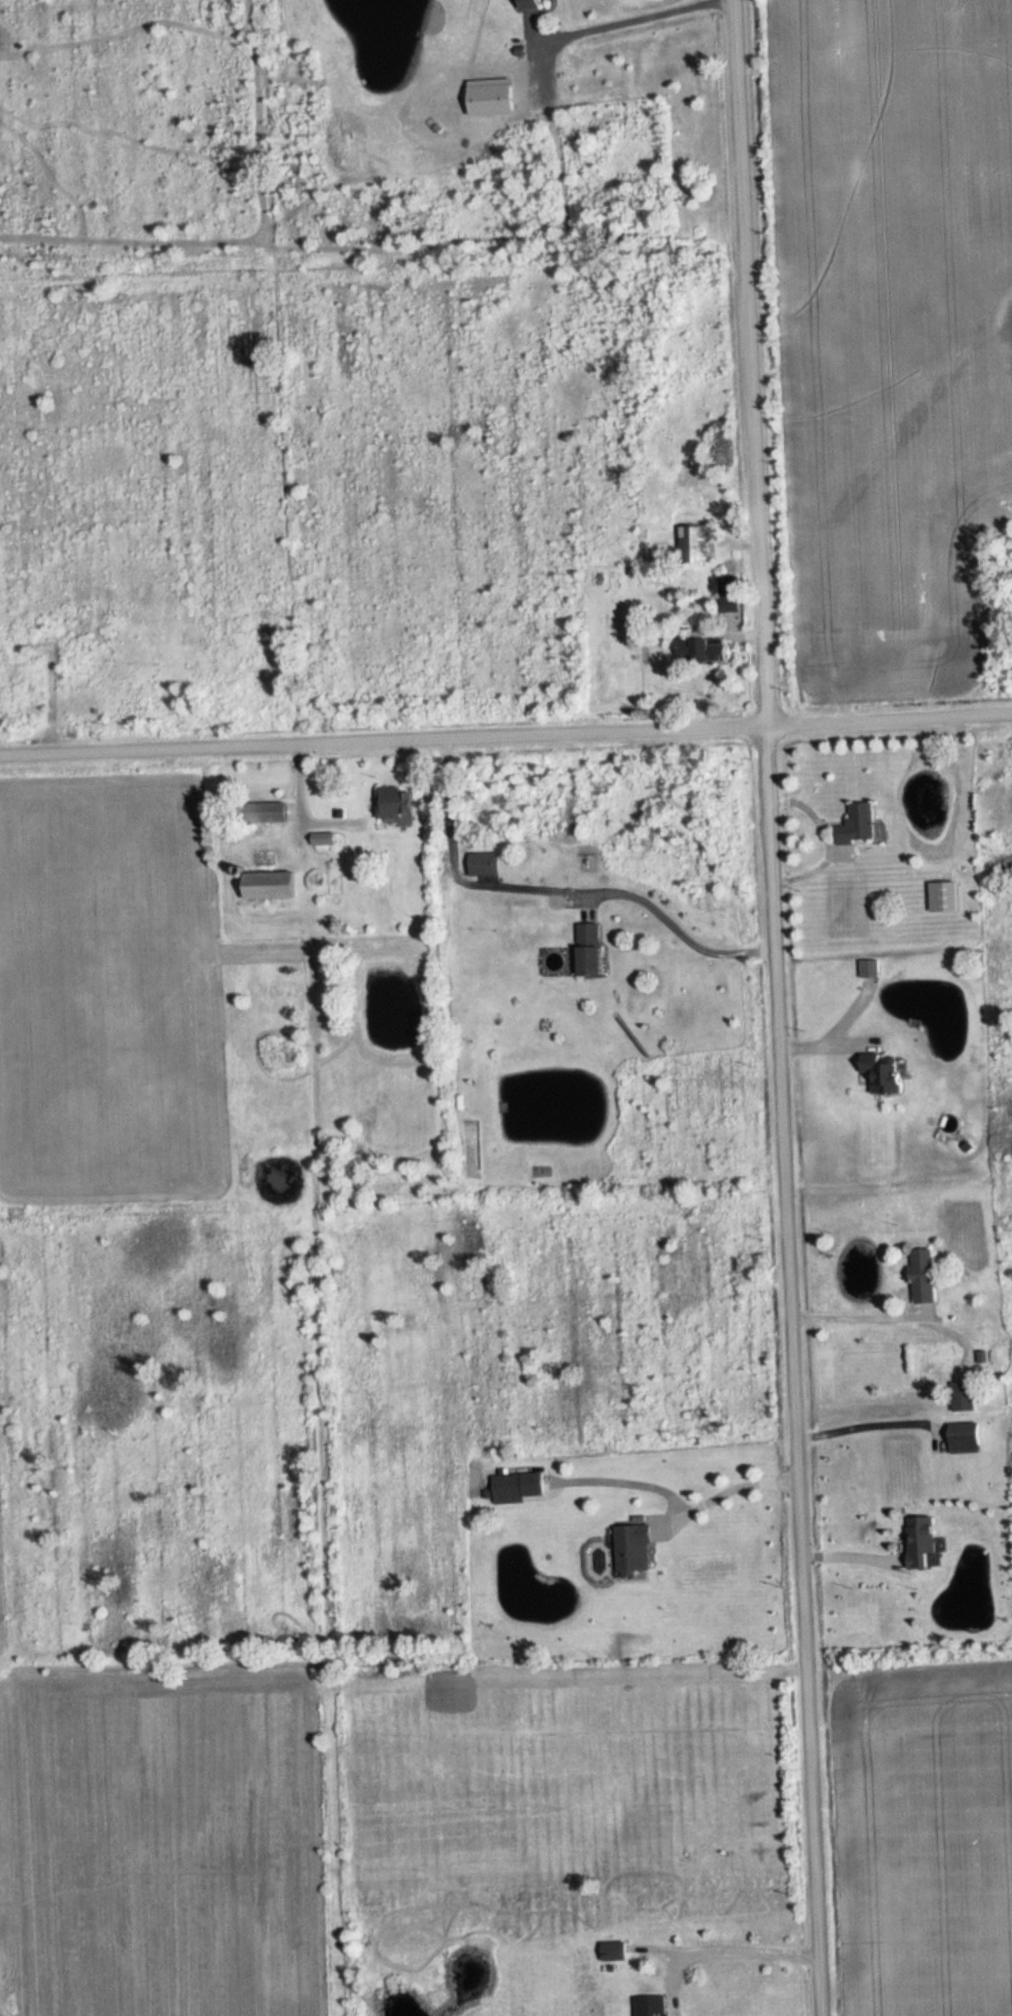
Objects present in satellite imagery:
building: (531, 4)
road: (627, 19)
building: (695, 545)
building: (729, 596)
building: (703, 648)
road: (506, 736)
building: (394, 803)
building: (269, 813)
building: (859, 825)
building: (324, 839)
building: (480, 865)
road: (561, 880)
building: (269, 886)
building: (944, 897)
building: (591, 950)
road: (777, 1007)
building: (884, 1075)
building: (923, 1275)
road: (860, 1311)
building: (961, 1401)
road: (861, 1429)
building: (965, 1437)
building: (508, 1488)
road: (728, 1493)
building: (922, 1542)
building: (634, 1548)
road: (741, 1950)
building: (614, 1951)
building: (651, 2006)

